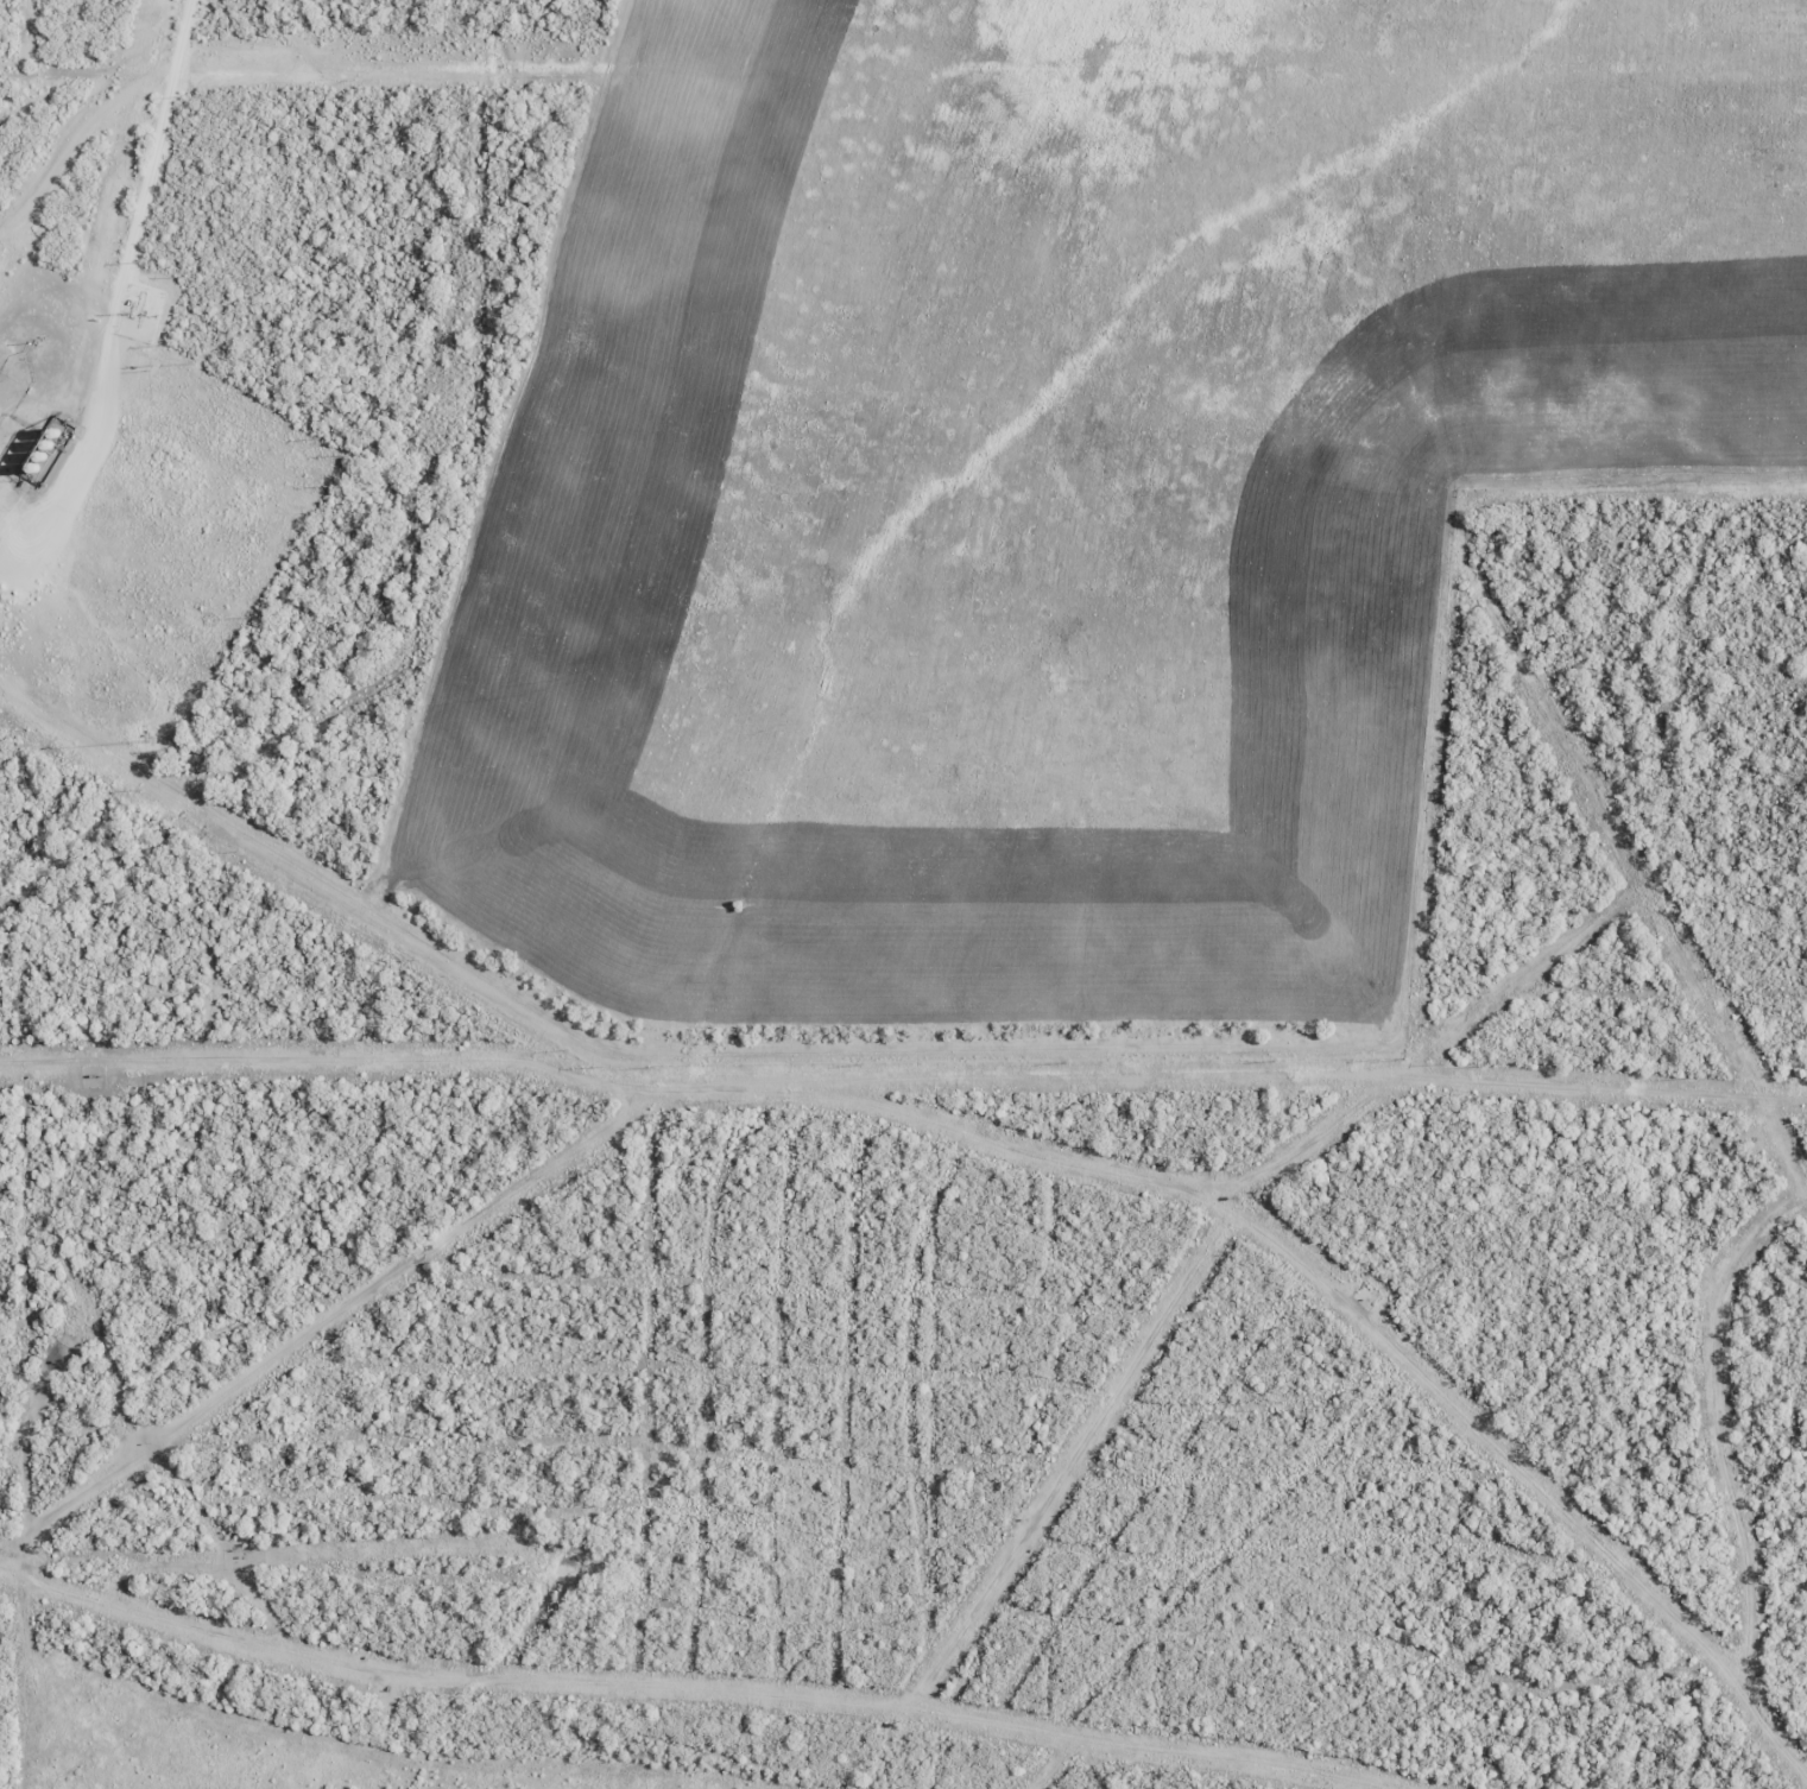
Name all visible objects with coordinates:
road: (991, 1209)
road: (689, 1688)

